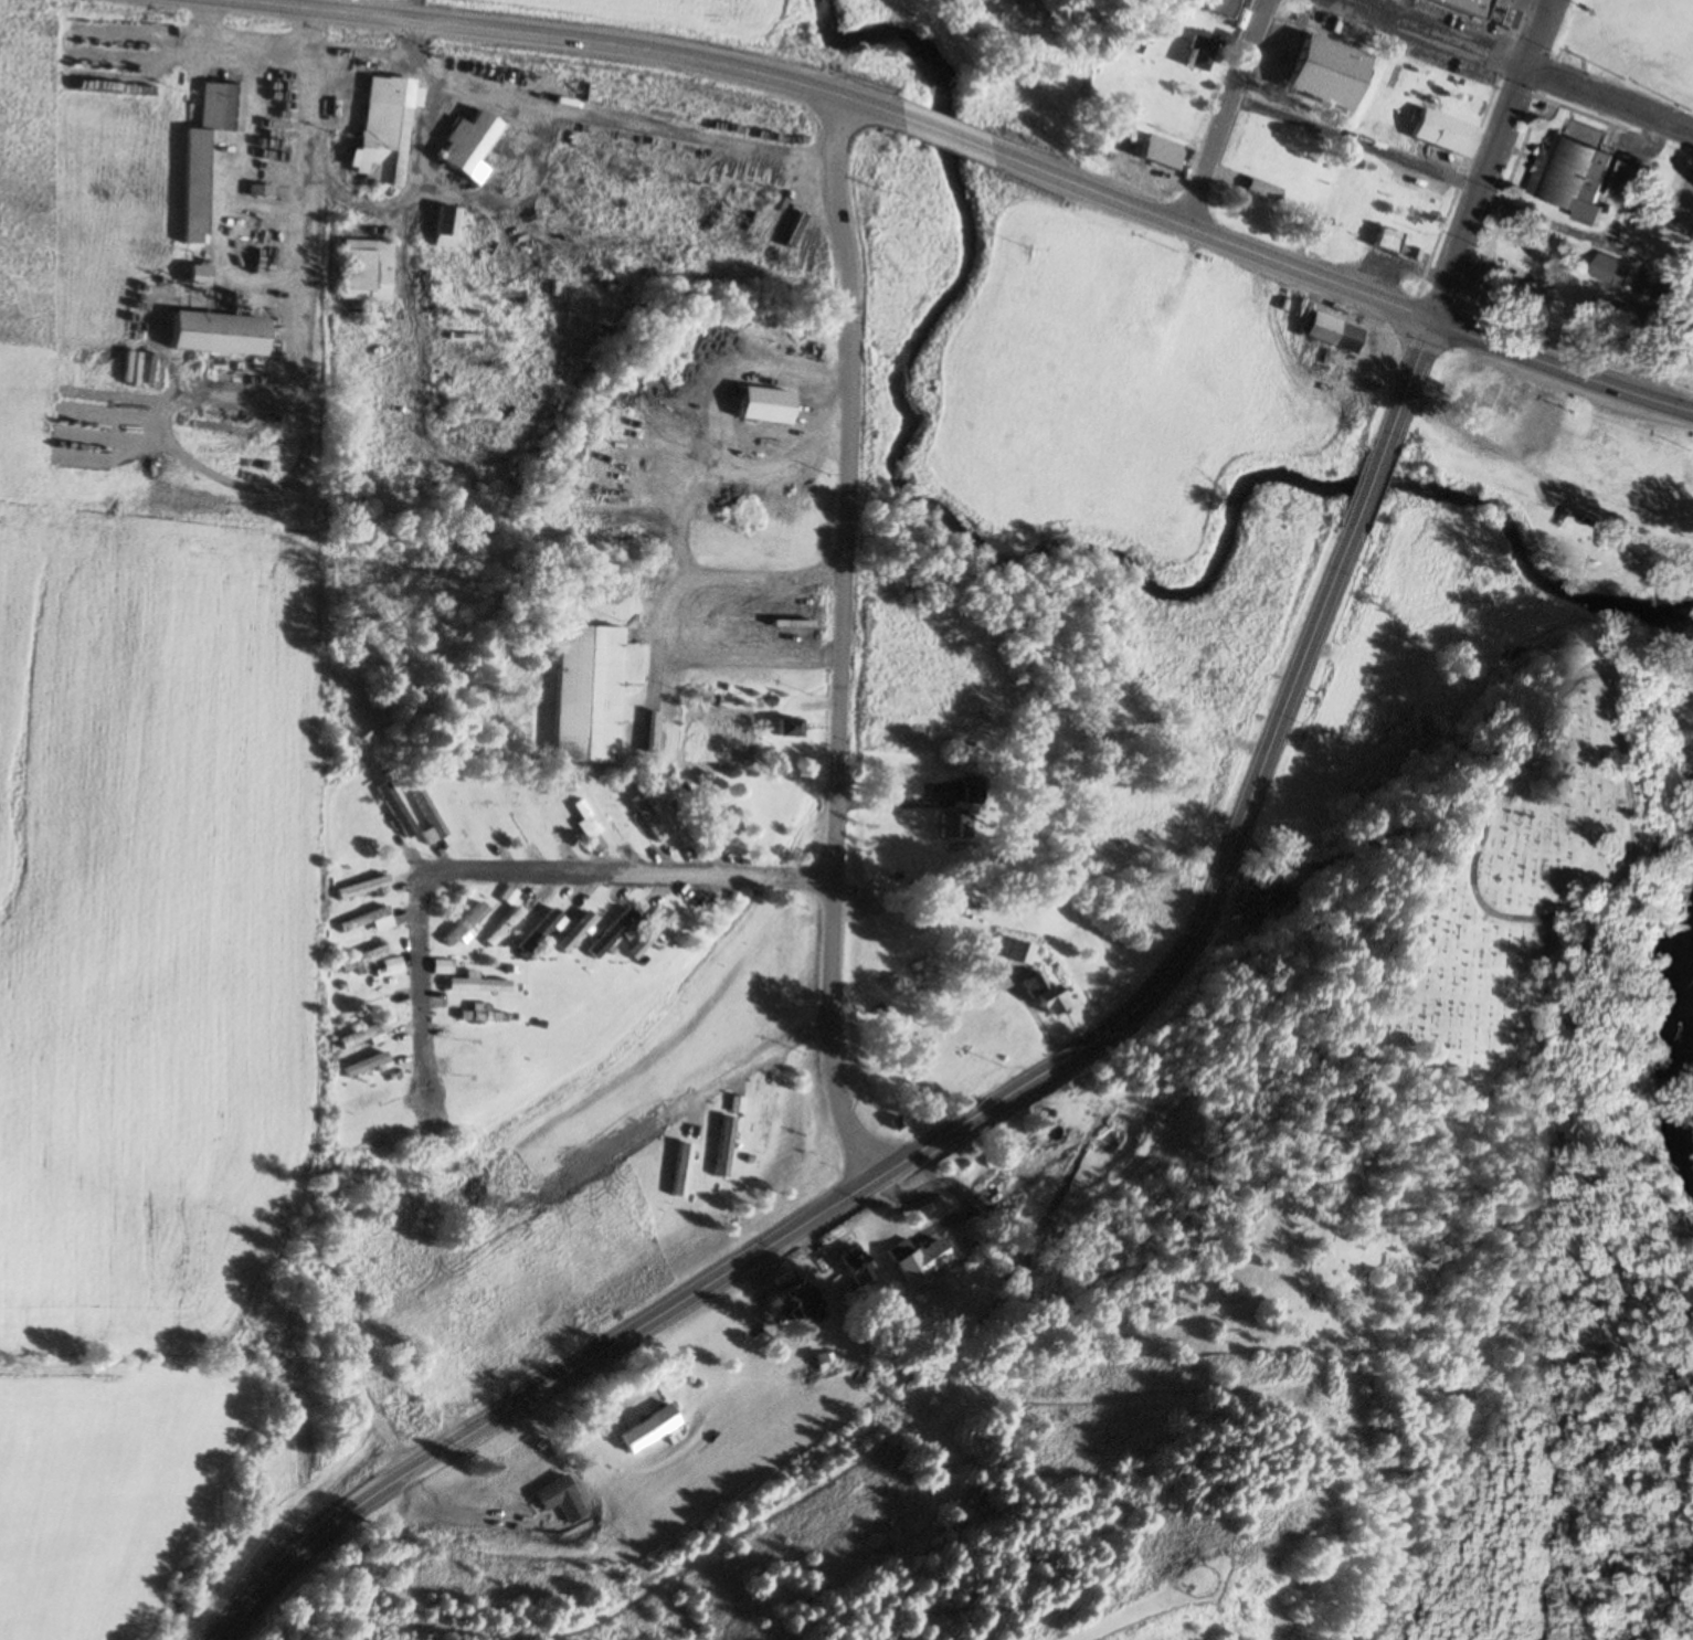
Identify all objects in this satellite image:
building: (1468, 4)
building: (1219, 8)
road: (1403, 10)
building: (1502, 20)
road: (612, 35)
park: (1631, 47)
building: (1197, 55)
road: (1519, 66)
building: (1322, 74)
road: (1227, 109)
road: (944, 127)
building: (380, 131)
building: (1440, 135)
building: (462, 142)
building: (203, 149)
building: (1155, 152)
road: (1494, 156)
building: (512, 172)
building: (1584, 176)
building: (1260, 192)
road: (1492, 198)
building: (419, 218)
building: (441, 228)
road: (1210, 229)
building: (1389, 245)
building: (1532, 246)
building: (791, 251)
building: (361, 271)
building: (1616, 272)
building: (194, 277)
building: (623, 281)
building: (1668, 290)
building: (1327, 332)
building: (214, 335)
road: (1563, 357)
building: (761, 404)
road: (685, 614)
road: (844, 641)
building: (584, 694)
road: (1620, 718)
building: (784, 727)
building: (427, 814)
building: (612, 814)
building: (548, 815)
building: (583, 818)
building: (706, 819)
building: (954, 825)
building: (650, 827)
road: (507, 872)
building: (361, 887)
building: (574, 898)
building: (652, 900)
road: (1334, 901)
building: (1261, 903)
park: (1504, 912)
building: (358, 921)
building: (464, 927)
building: (501, 927)
building: (536, 931)
building: (571, 932)
building: (609, 934)
building: (647, 935)
building: (1013, 952)
building: (363, 959)
building: (440, 966)
building: (475, 985)
building: (1038, 994)
building: (480, 1017)
building: (443, 1031)
building: (373, 1034)
building: (477, 1047)
river: (1682, 1049)
road: (759, 1058)
building: (363, 1065)
road: (991, 1107)
building: (764, 1111)
building: (1681, 1115)
building: (695, 1133)
building: (723, 1147)
building: (680, 1170)
building: (1009, 1170)
building: (917, 1259)
building: (851, 1268)
building: (802, 1306)
building: (645, 1429)
building: (529, 1479)

